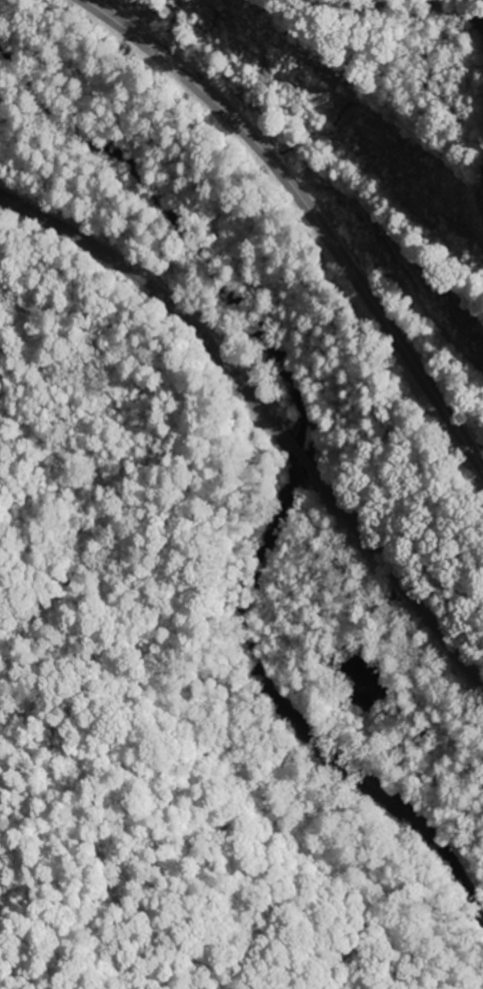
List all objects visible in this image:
road: (308, 210)
railway: (270, 418)

